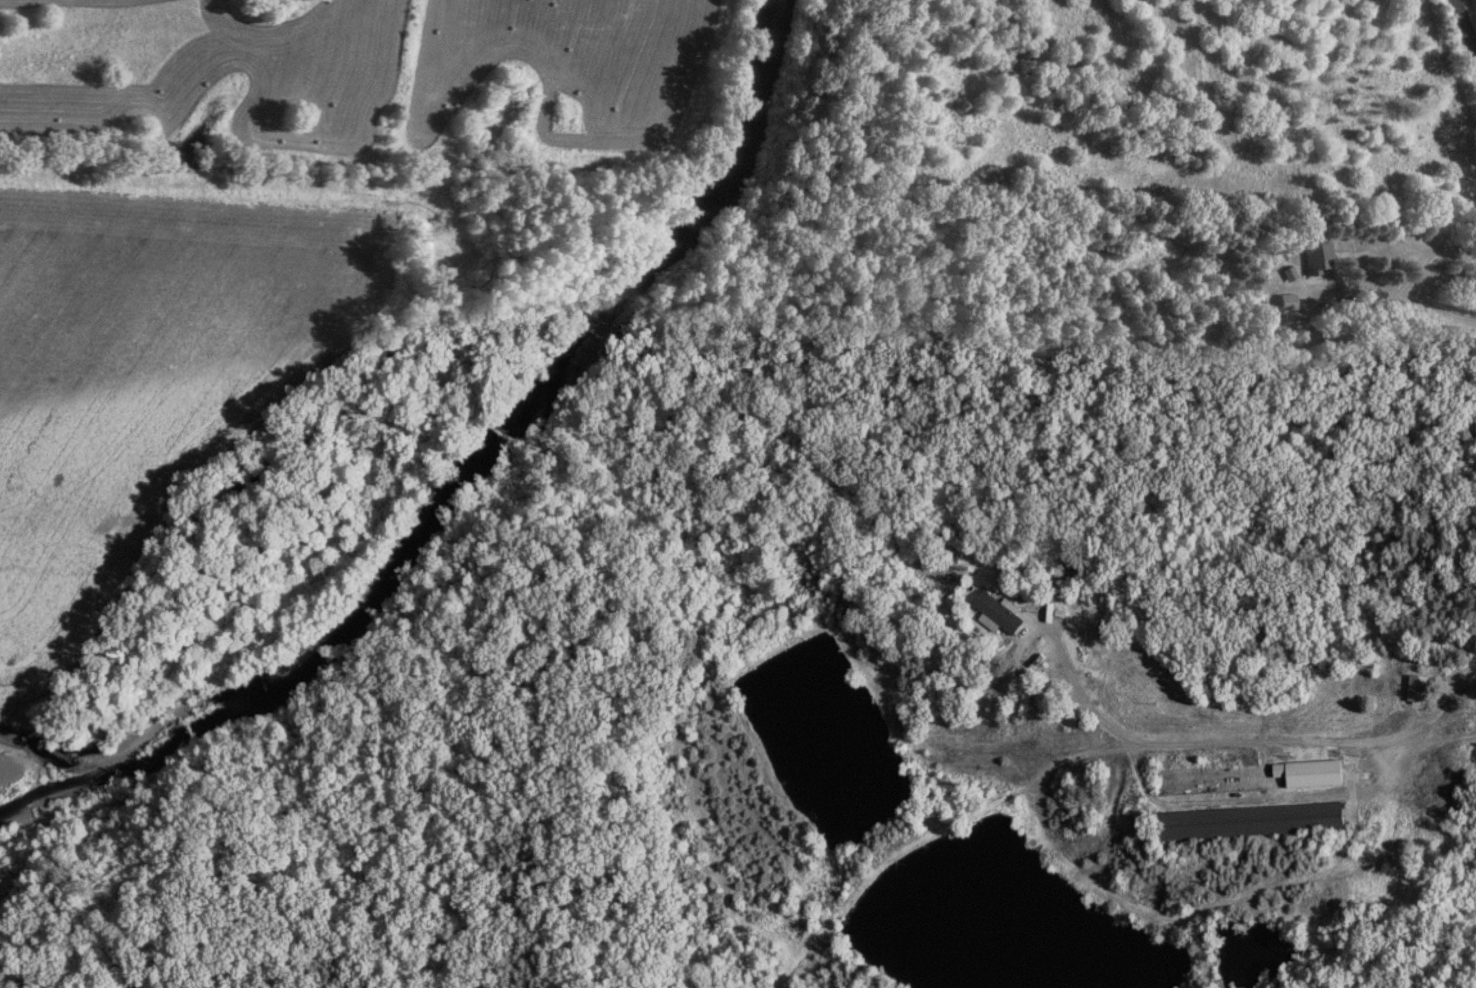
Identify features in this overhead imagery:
road: (1464, 25)
building: (1360, 244)
building: (1318, 255)
road: (1272, 366)
river: (461, 483)
building: (1000, 612)
building: (1419, 687)
road: (1426, 740)
road: (1252, 742)
building: (1315, 771)
building: (1258, 818)

